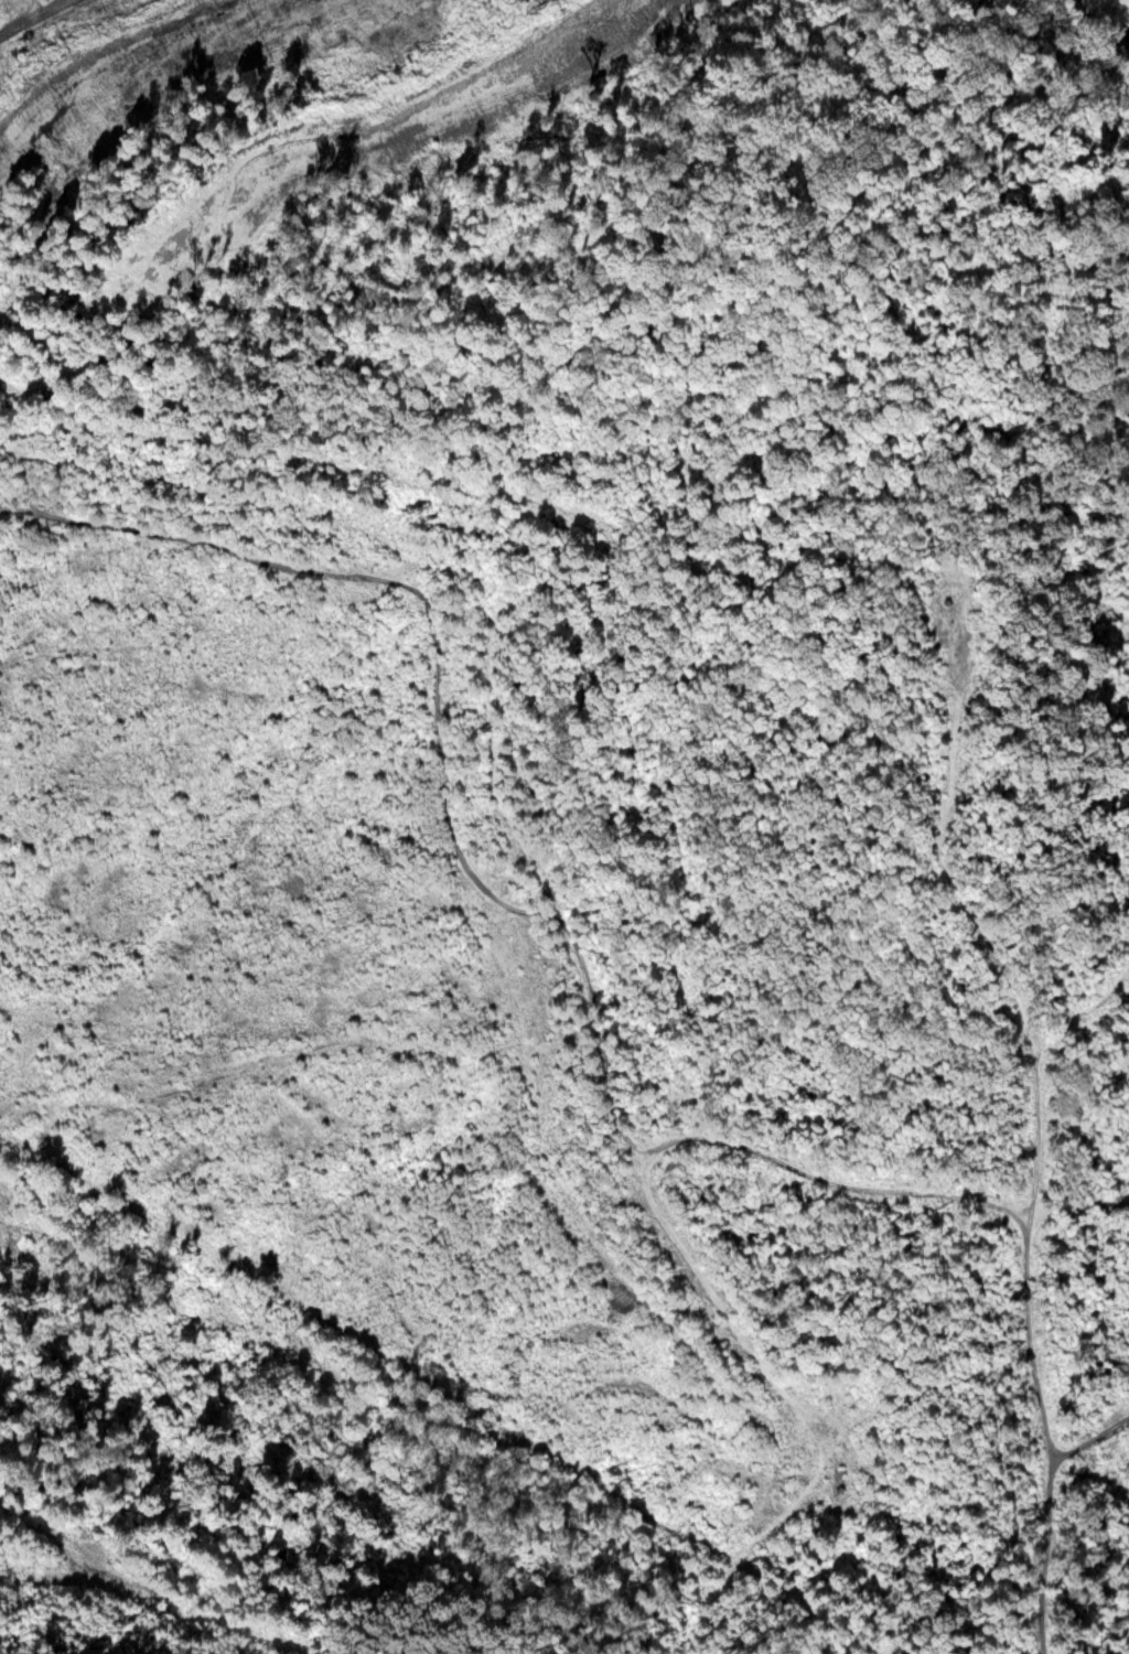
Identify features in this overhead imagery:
road: (3, 11)
road: (598, 1013)
road: (1092, 1438)
road: (1045, 1652)

